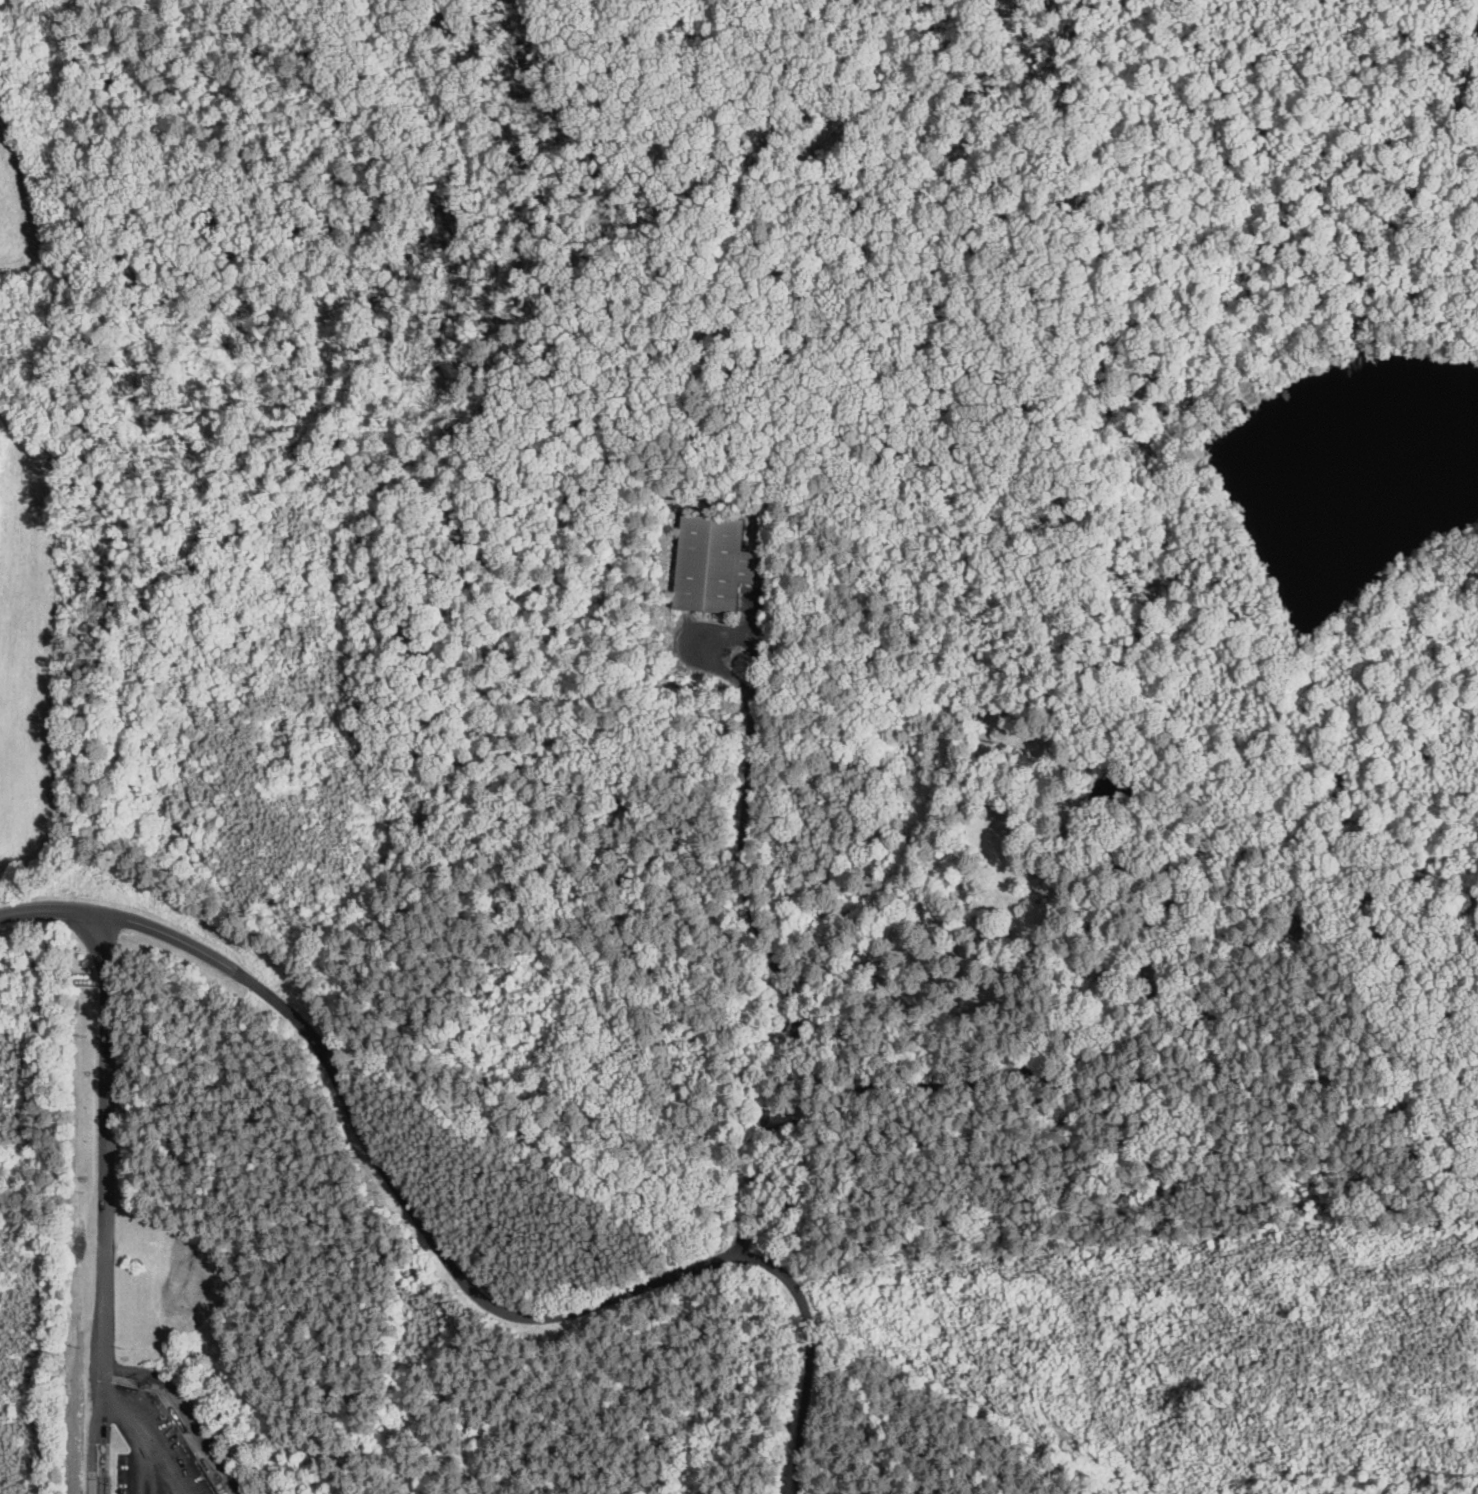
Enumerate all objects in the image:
road: (743, 870)
road: (106, 1204)
road: (447, 1252)
road: (154, 1434)
road: (138, 1455)

